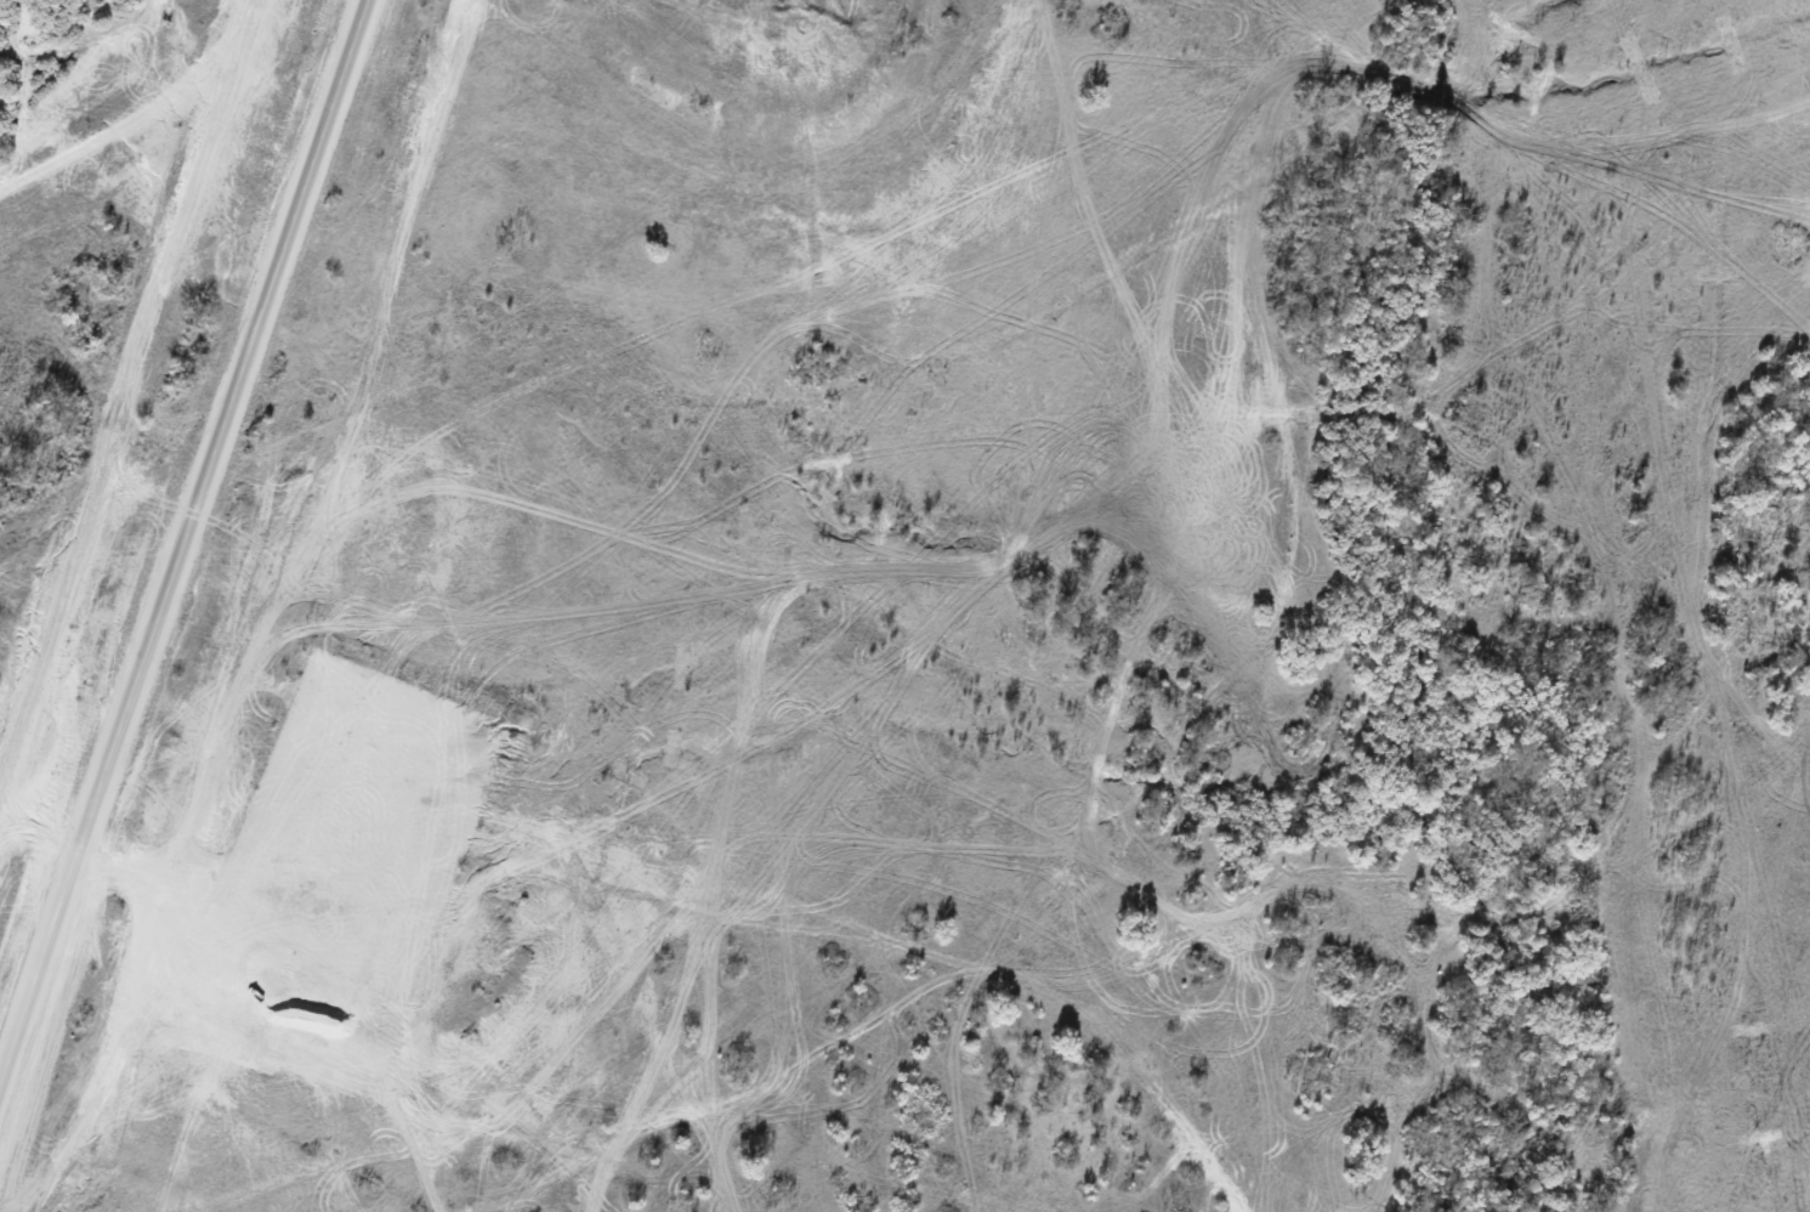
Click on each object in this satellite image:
road: (124, 386)
road: (182, 542)

